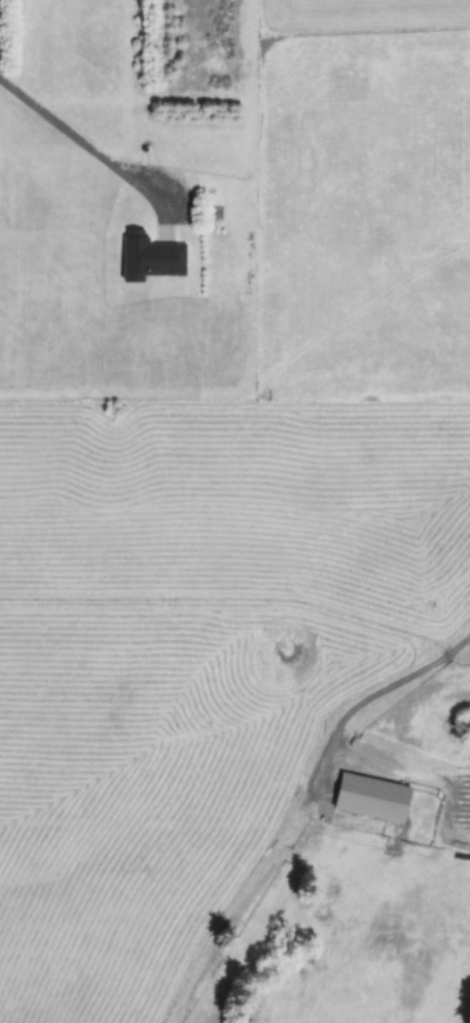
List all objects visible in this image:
road: (75, 137)
road: (346, 722)
building: (371, 793)

